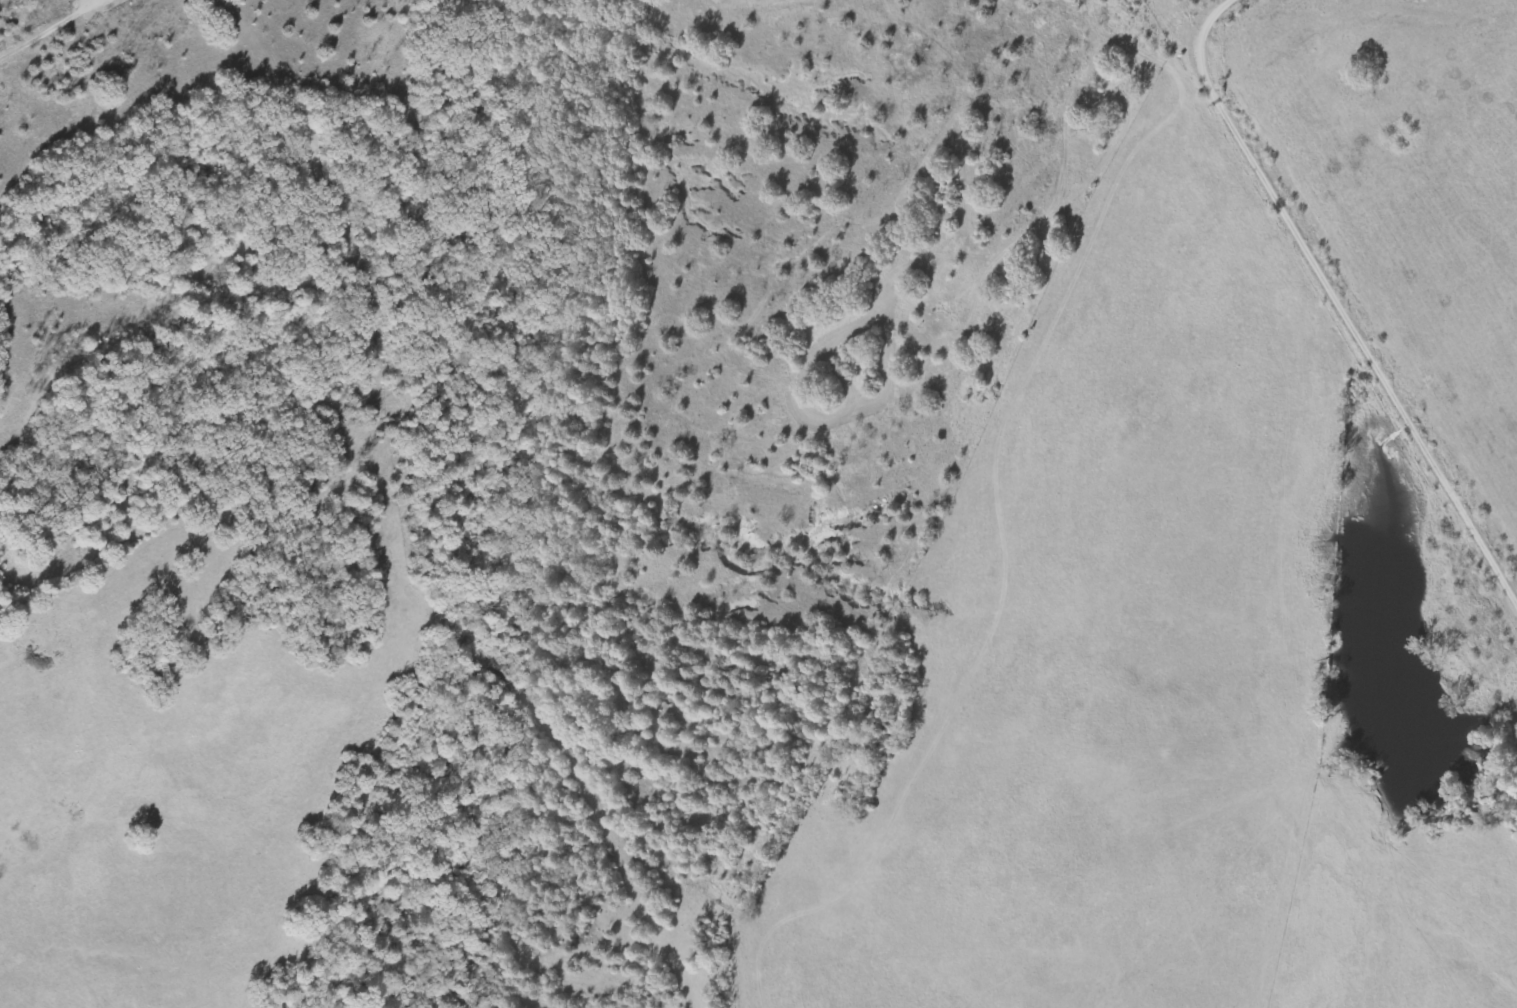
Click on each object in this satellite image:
road: (41, 28)

